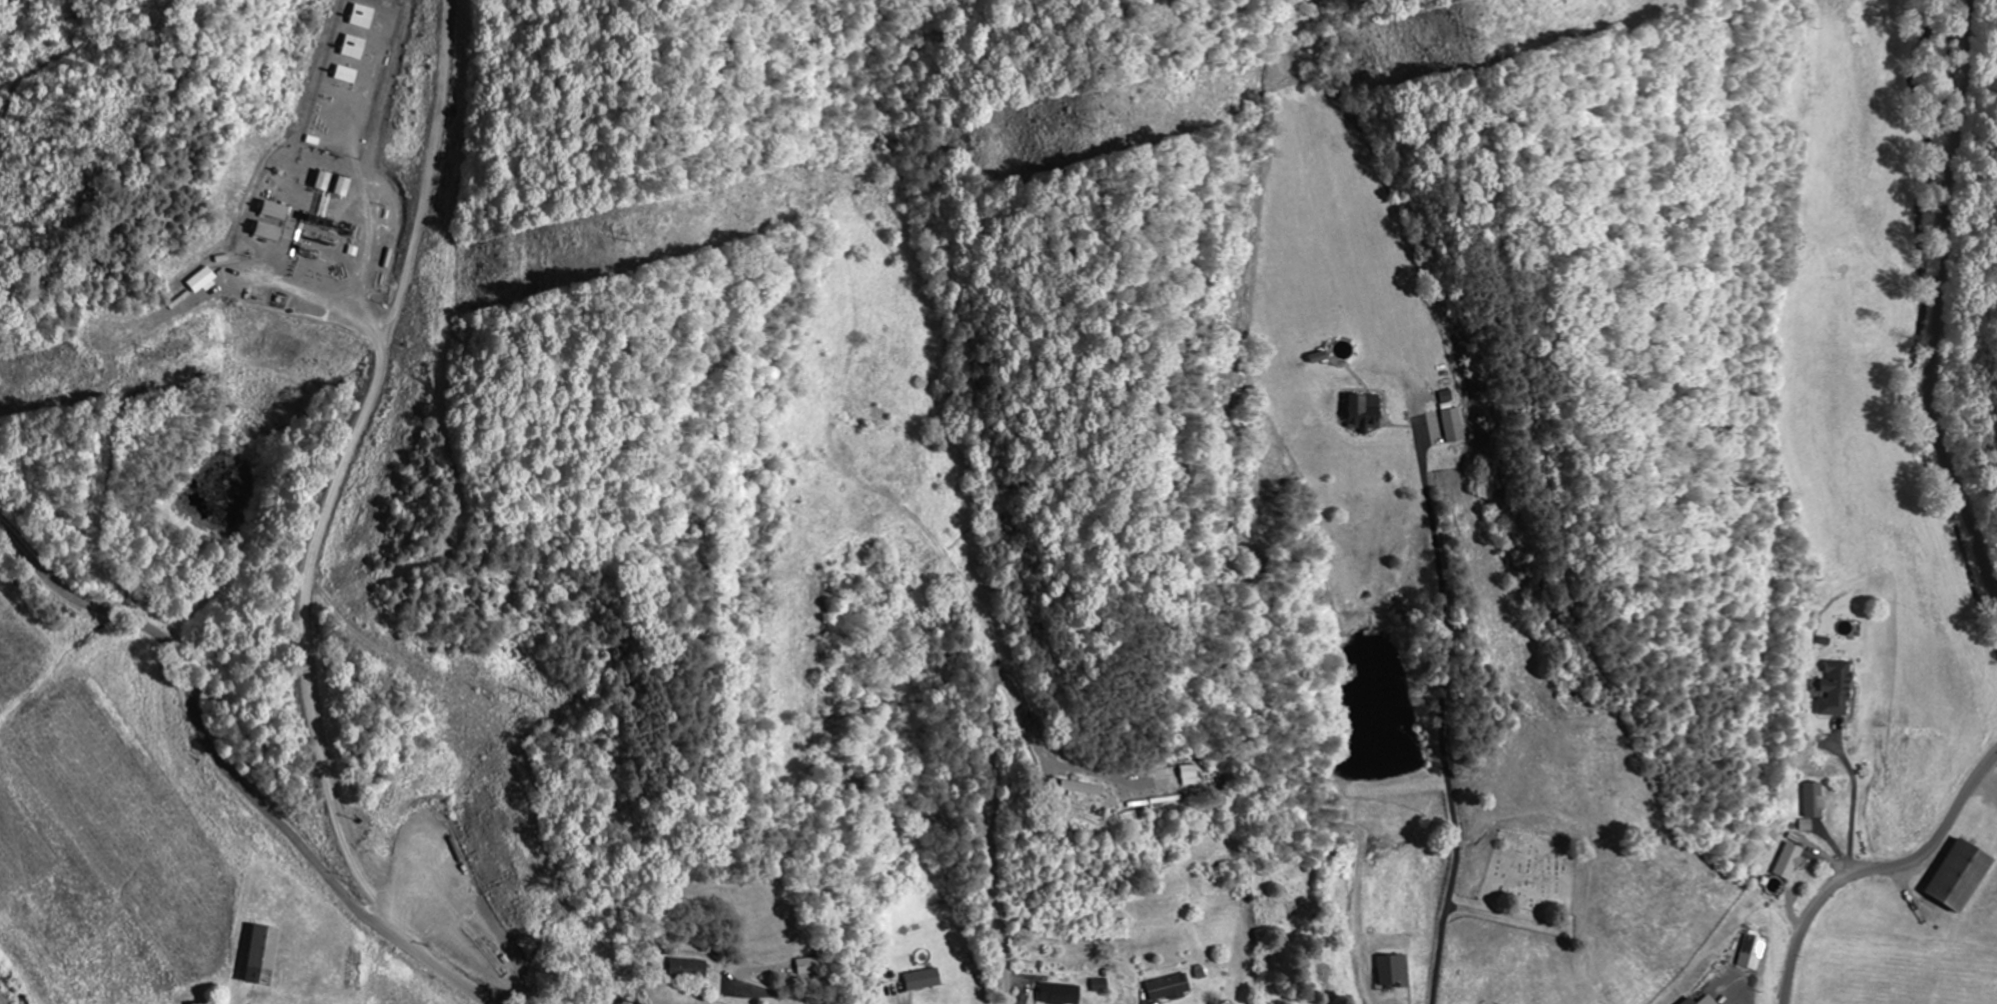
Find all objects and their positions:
building: (364, 15)
building: (355, 46)
building: (276, 209)
building: (270, 230)
building: (205, 279)
road: (1921, 312)
building: (1362, 411)
building: (1455, 424)
building: (1841, 688)
road: (228, 771)
building: (1190, 774)
building: (1083, 787)
building: (1817, 800)
building: (1808, 824)
building: (1791, 860)
road: (1877, 868)
park: (1530, 874)
building: (1965, 875)
park: (1303, 933)
building: (1753, 951)
building: (263, 955)
building: (807, 965)
building: (689, 968)
building: (1395, 969)
building: (924, 978)
building: (1101, 984)
building: (1171, 986)
building: (1062, 993)
road: (781, 996)
building: (1703, 1000)
building: (216, 1003)

